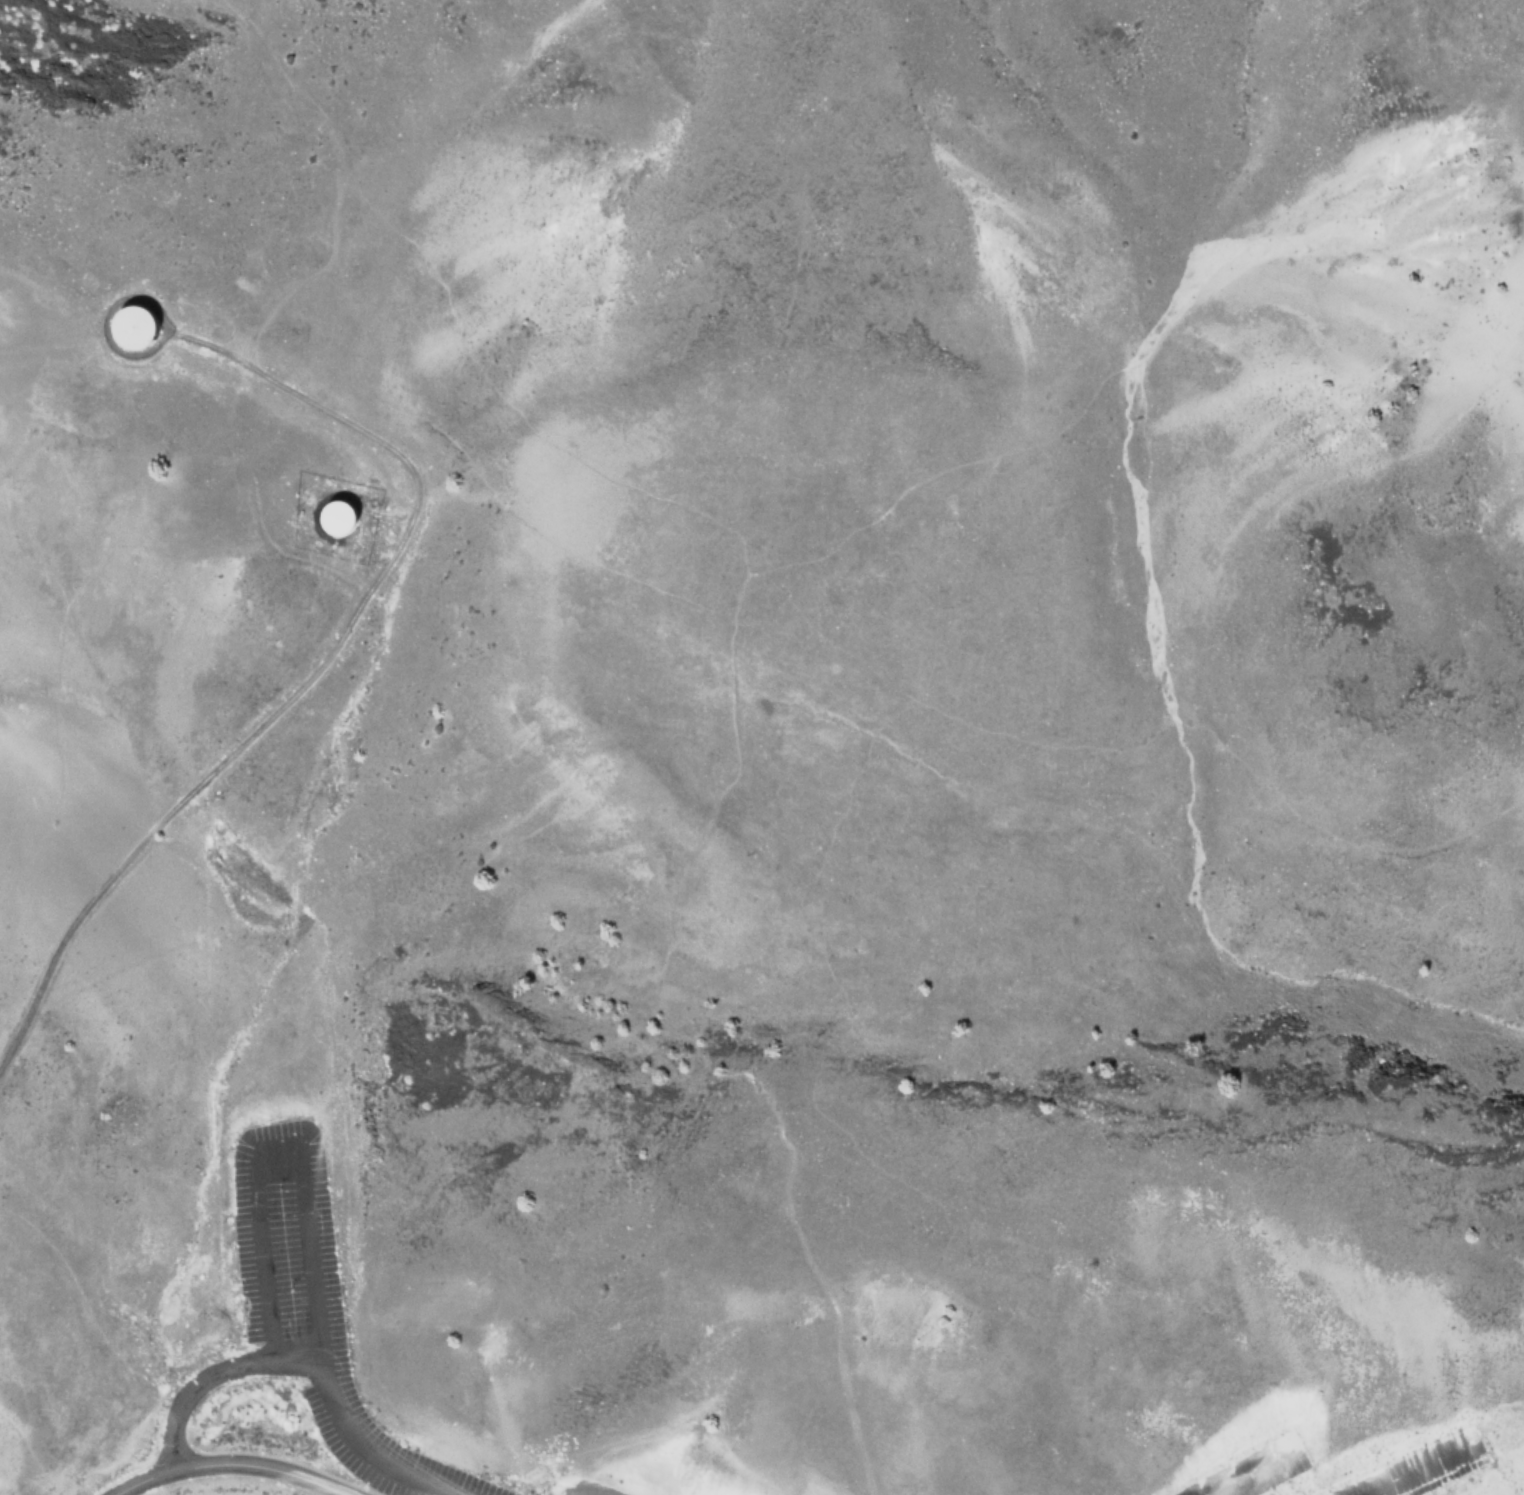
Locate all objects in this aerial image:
road: (1191, 293)
road: (102, 325)
building: (135, 327)
road: (453, 328)
building: (337, 519)
road: (311, 670)
road: (861, 755)
road: (682, 1056)
road: (81, 1299)
parking lot: (312, 1304)
parking lot: (1442, 1446)
road: (234, 1471)

